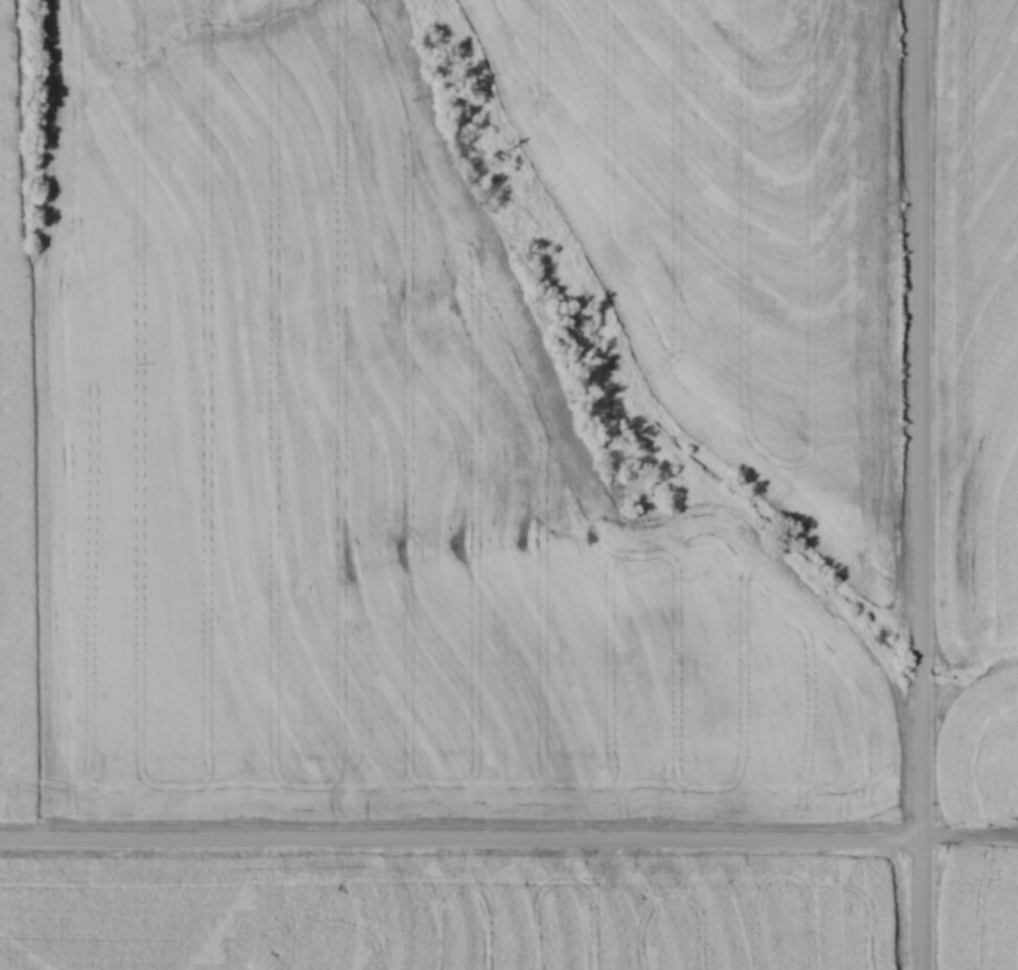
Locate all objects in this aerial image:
road: (922, 328)
road: (923, 666)
road: (922, 823)
road: (509, 840)

